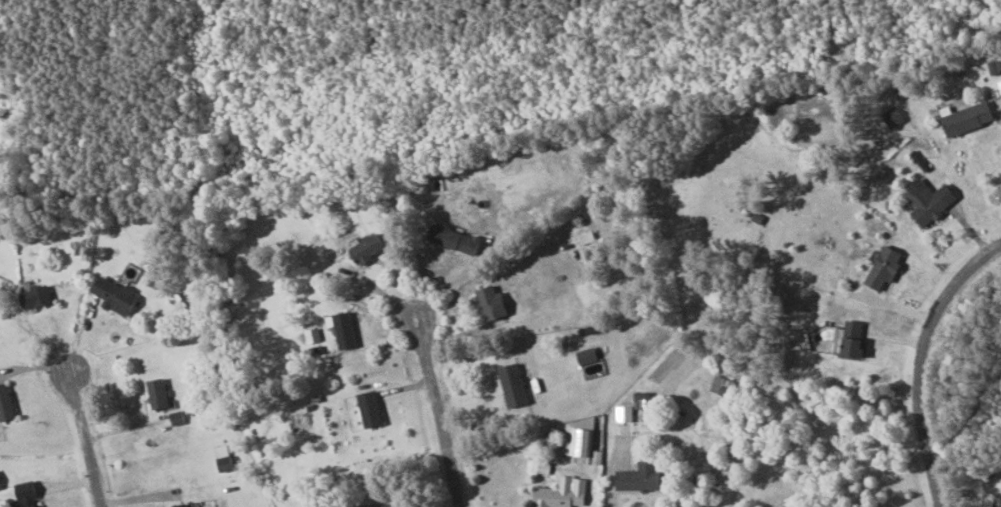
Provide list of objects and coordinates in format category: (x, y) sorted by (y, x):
building: (999, 84)
building: (893, 116)
building: (967, 117)
building: (930, 200)
building: (586, 237)
building: (454, 239)
building: (367, 248)
building: (884, 267)
building: (115, 296)
building: (36, 297)
building: (491, 302)
building: (343, 329)
building: (853, 339)
building: (587, 355)
road: (918, 361)
building: (513, 385)
building: (158, 393)
building: (6, 404)
building: (370, 408)
road: (436, 408)
building: (176, 417)
building: (624, 420)
road: (85, 435)
building: (582, 445)
building: (640, 477)
road: (612, 483)
building: (0, 487)
building: (562, 493)
building: (26, 495)
building: (996, 502)
building: (183, 506)
building: (384, 506)

